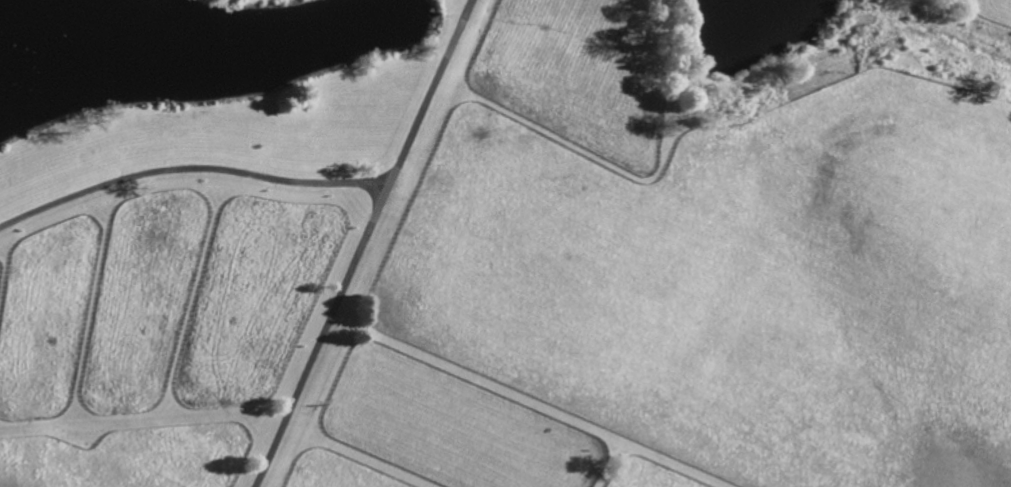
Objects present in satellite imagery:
road: (429, 91)
road: (189, 169)
road: (320, 334)

